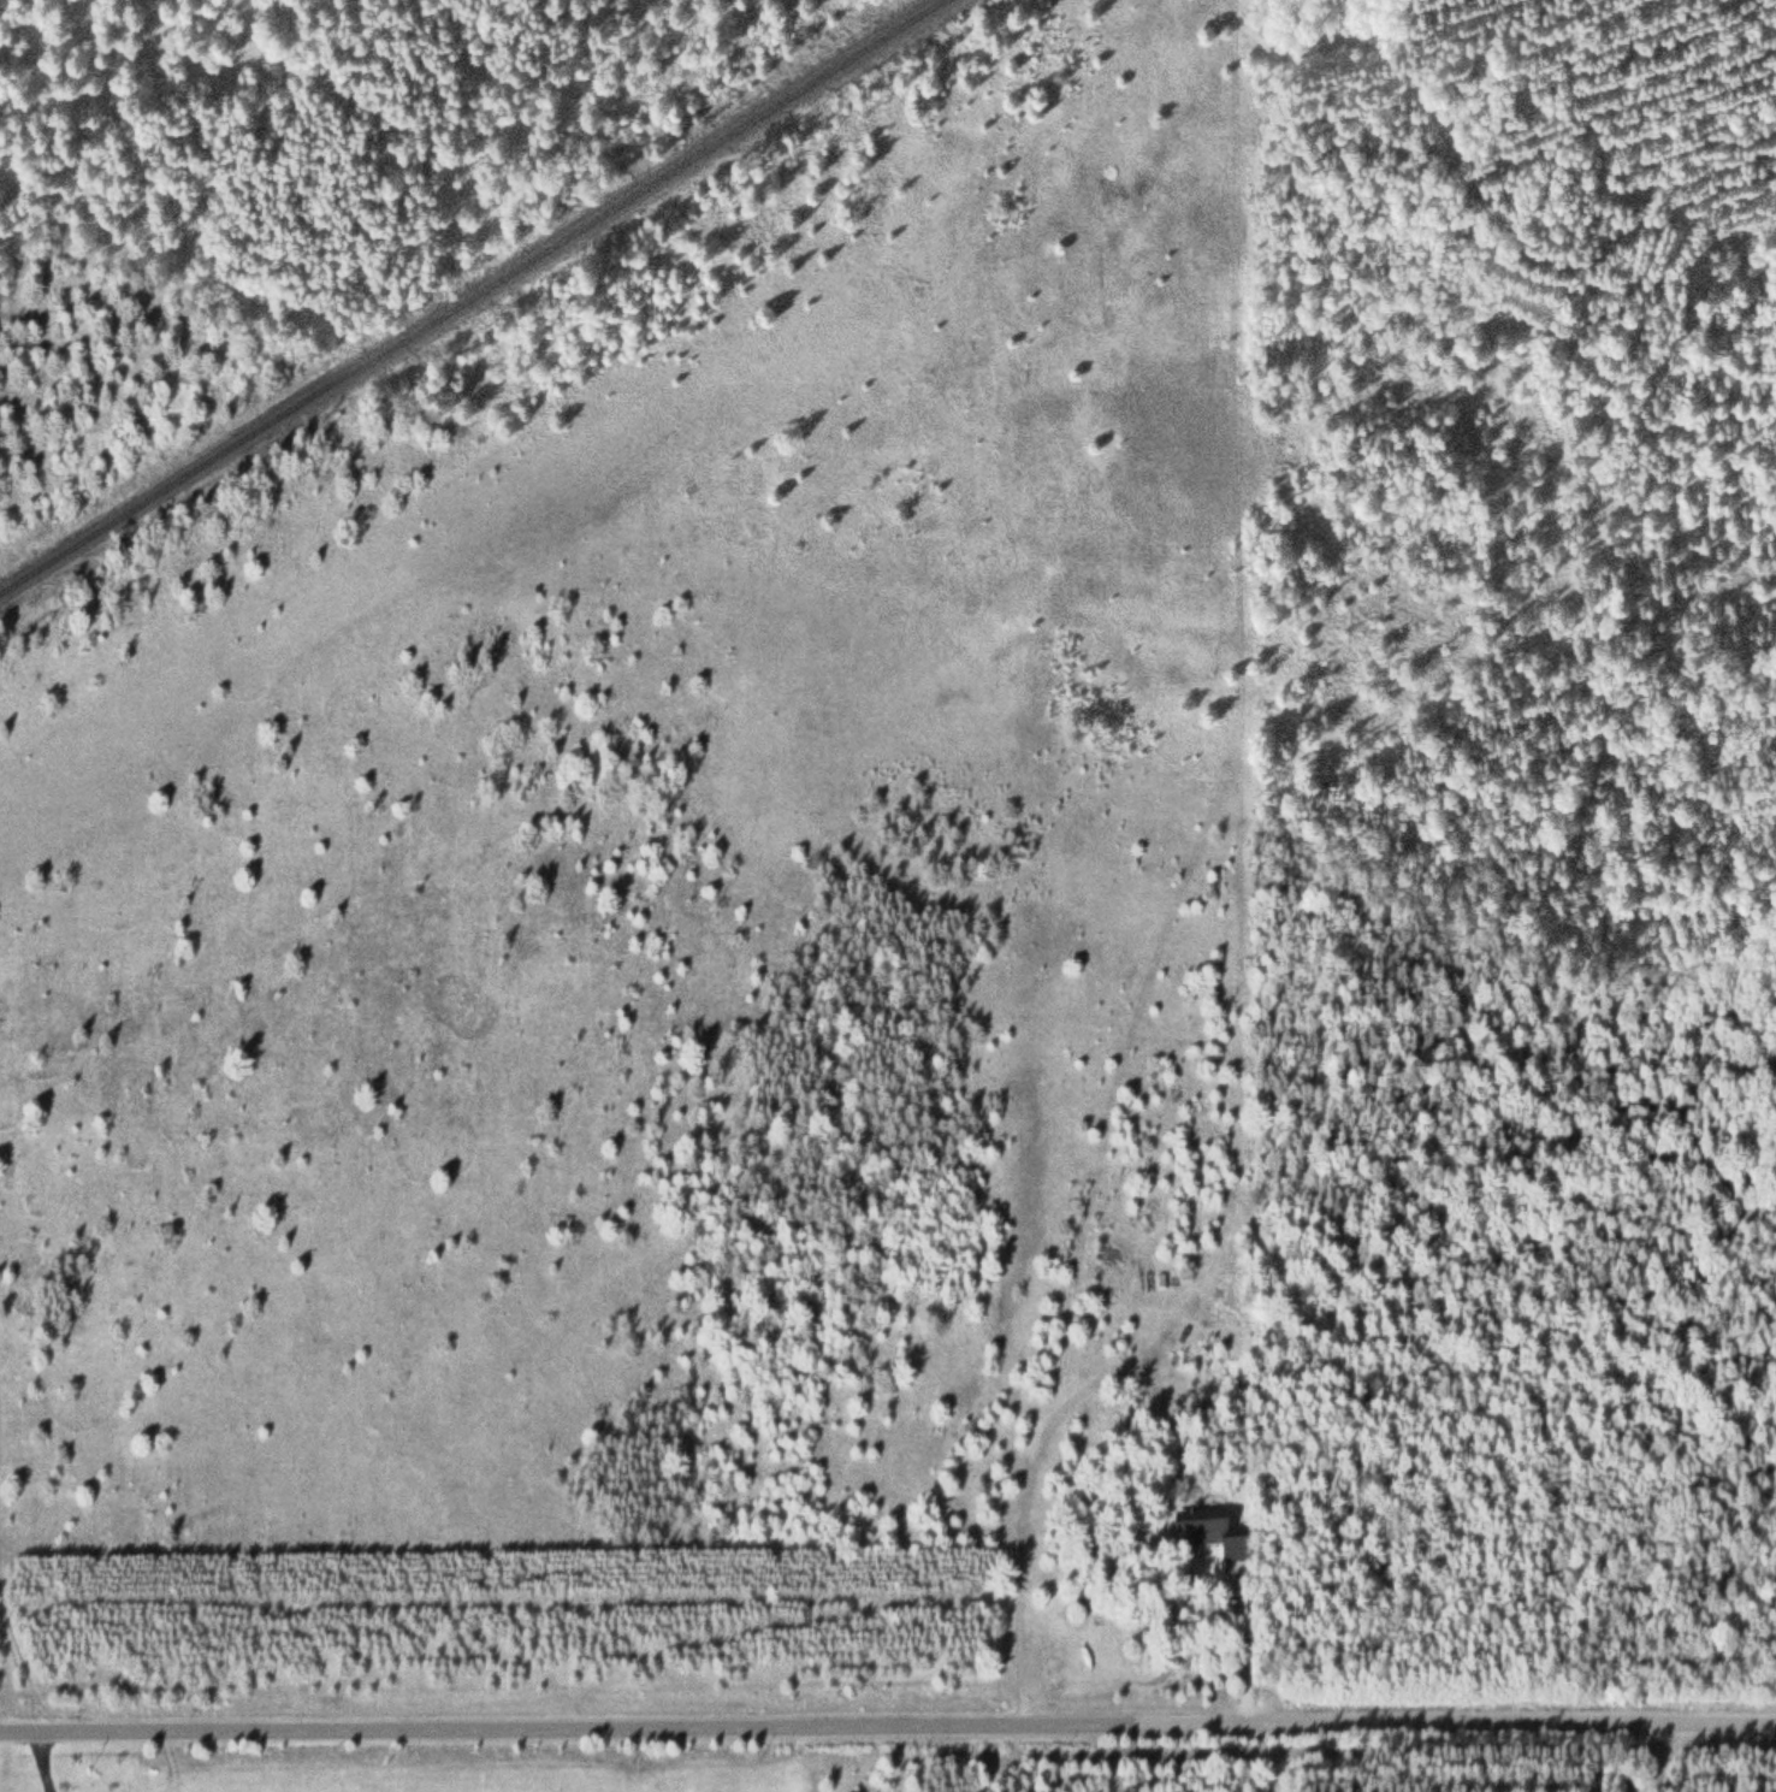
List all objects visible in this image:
railway: (468, 296)
building: (1209, 1538)
road: (888, 1728)
road: (1673, 1757)

